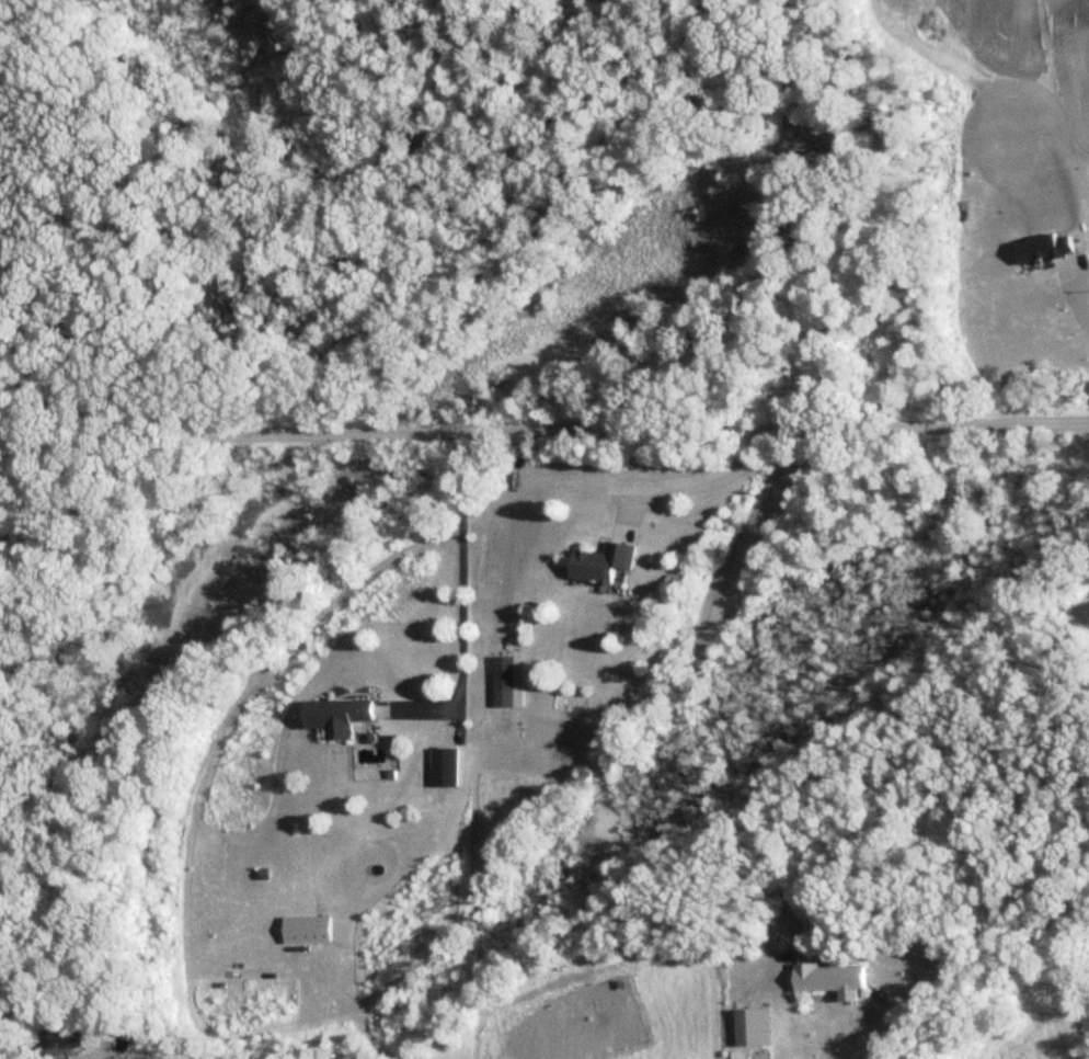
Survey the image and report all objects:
road: (1077, 305)
road: (543, 428)
road: (35, 481)
road: (700, 485)
building: (605, 565)
road: (461, 603)
building: (505, 669)
building: (337, 716)
road: (714, 718)
road: (60, 841)
building: (316, 930)
building: (833, 980)
building: (61, 1040)
building: (73, 1058)

